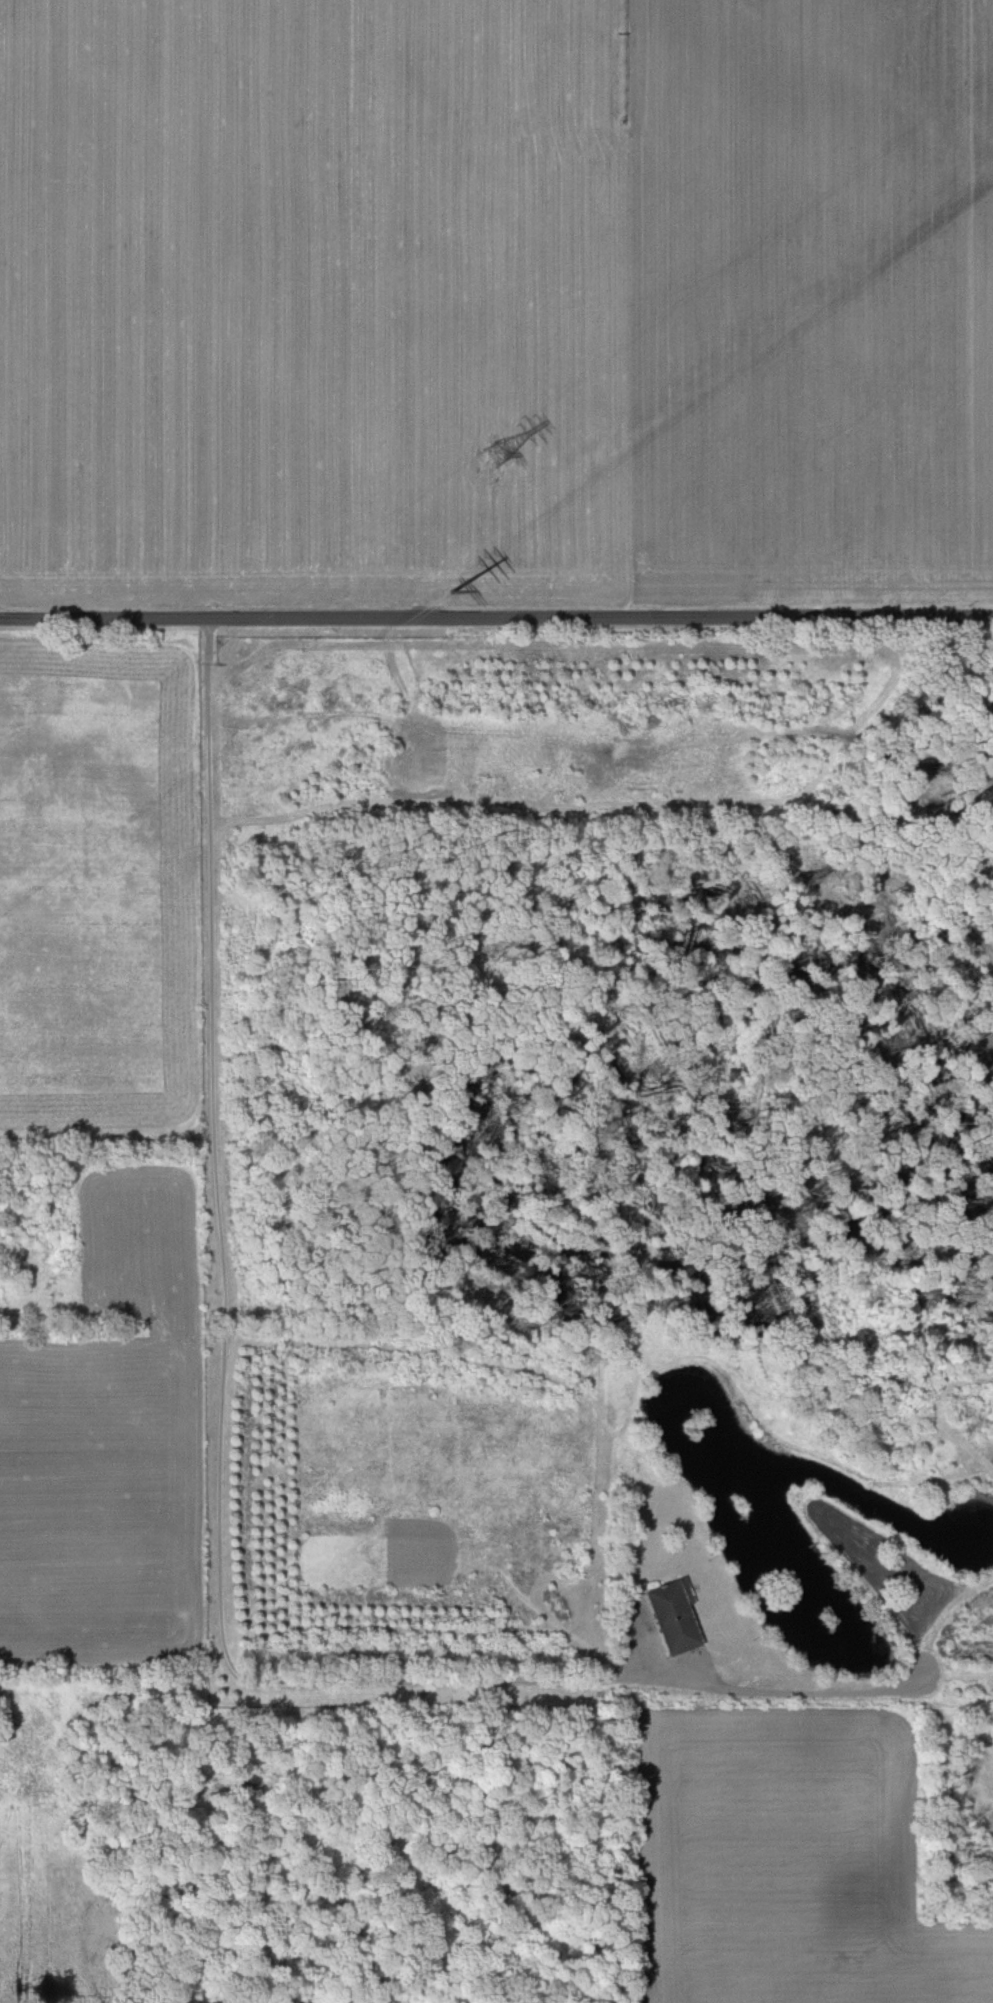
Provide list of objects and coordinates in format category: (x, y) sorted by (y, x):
power tower: (493, 455)
power tower: (450, 585)
road: (496, 618)
road: (224, 1364)
building: (670, 1615)

